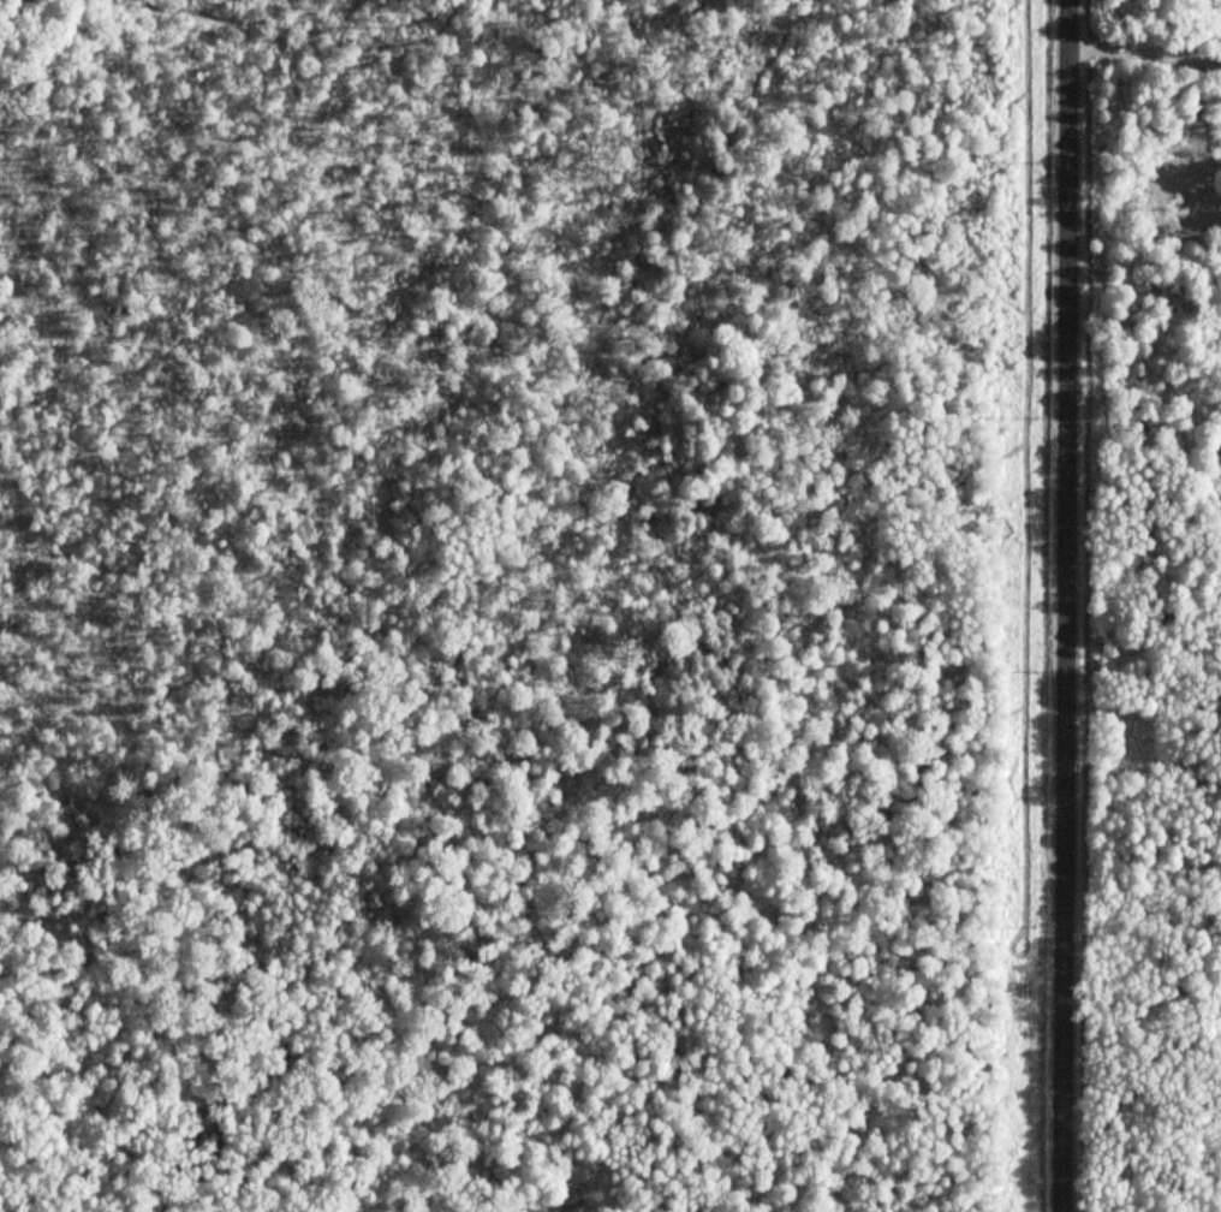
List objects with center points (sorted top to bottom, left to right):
road: (1146, 73)
road: (809, 244)
road: (1068, 605)

